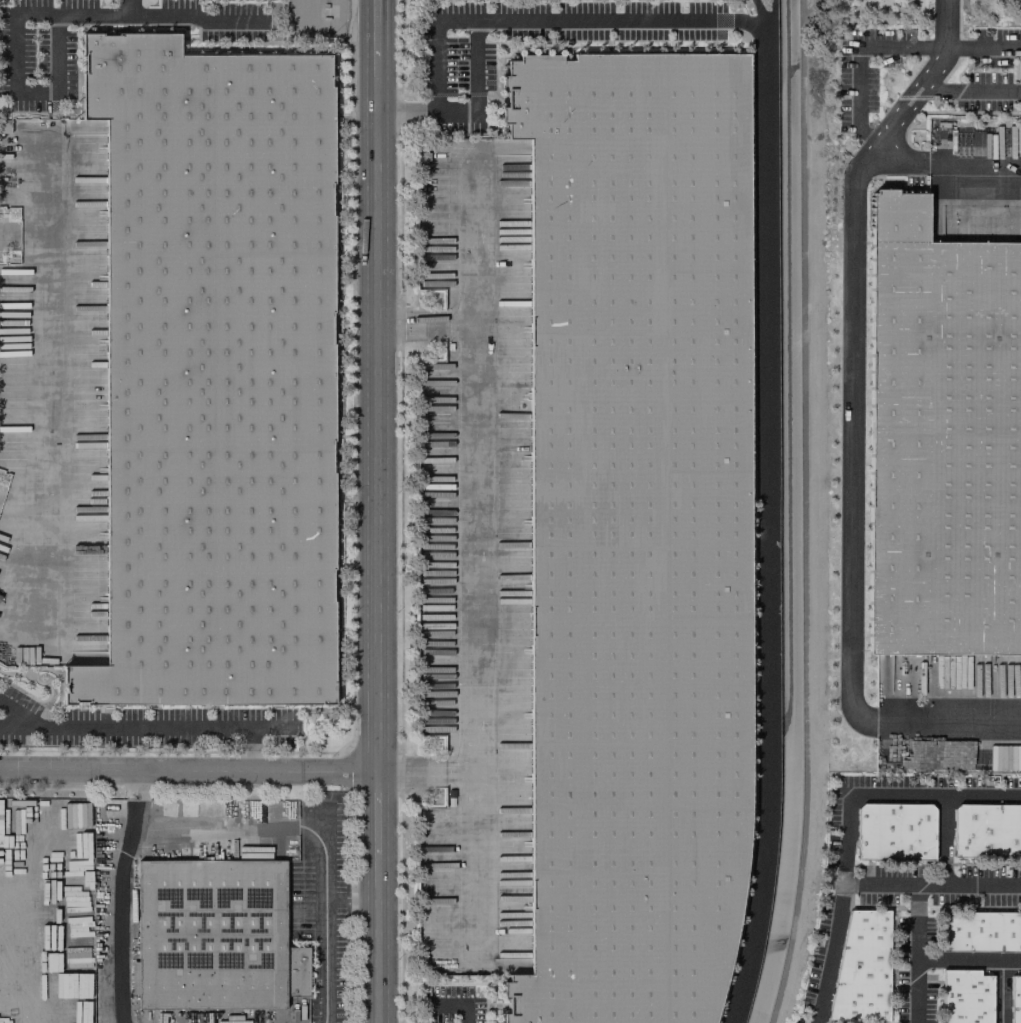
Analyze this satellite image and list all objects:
road: (96, 11)
road: (192, 19)
road: (538, 21)
road: (437, 47)
road: (984, 48)
road: (858, 58)
road: (972, 89)
road: (18, 91)
building: (972, 138)
road: (942, 168)
road: (44, 331)
building: (214, 373)
road: (852, 426)
building: (942, 437)
road: (377, 511)
road: (801, 513)
road: (767, 525)
building: (634, 531)
road: (142, 727)
road: (189, 771)
building: (987, 830)
building: (895, 831)
road: (215, 833)
road: (848, 842)
road: (120, 895)
road: (4, 902)
road: (352, 903)
road: (325, 917)
building: (980, 931)
building: (215, 936)
road: (830, 954)
road: (919, 954)
road: (970, 961)
building: (863, 970)
road: (1001, 992)
building: (964, 997)
building: (1015, 998)
road: (453, 1005)
building: (61, 1013)

